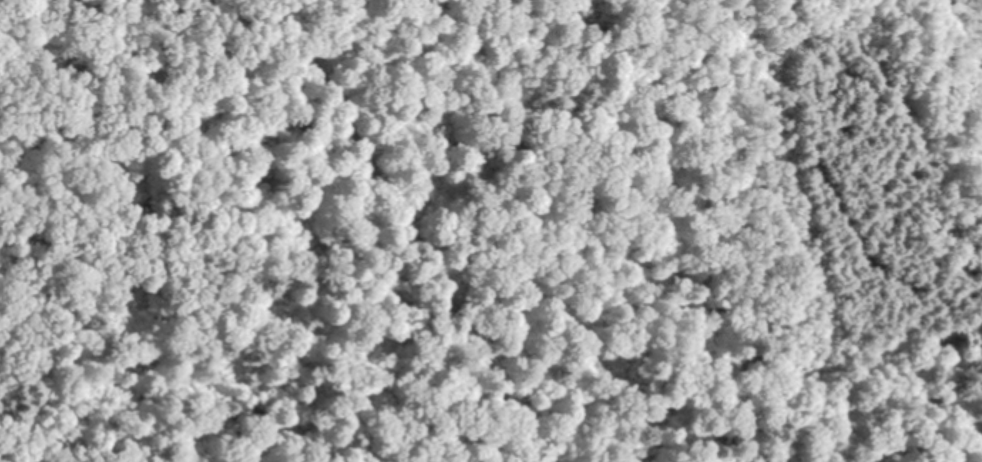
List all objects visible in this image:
road: (410, 231)

